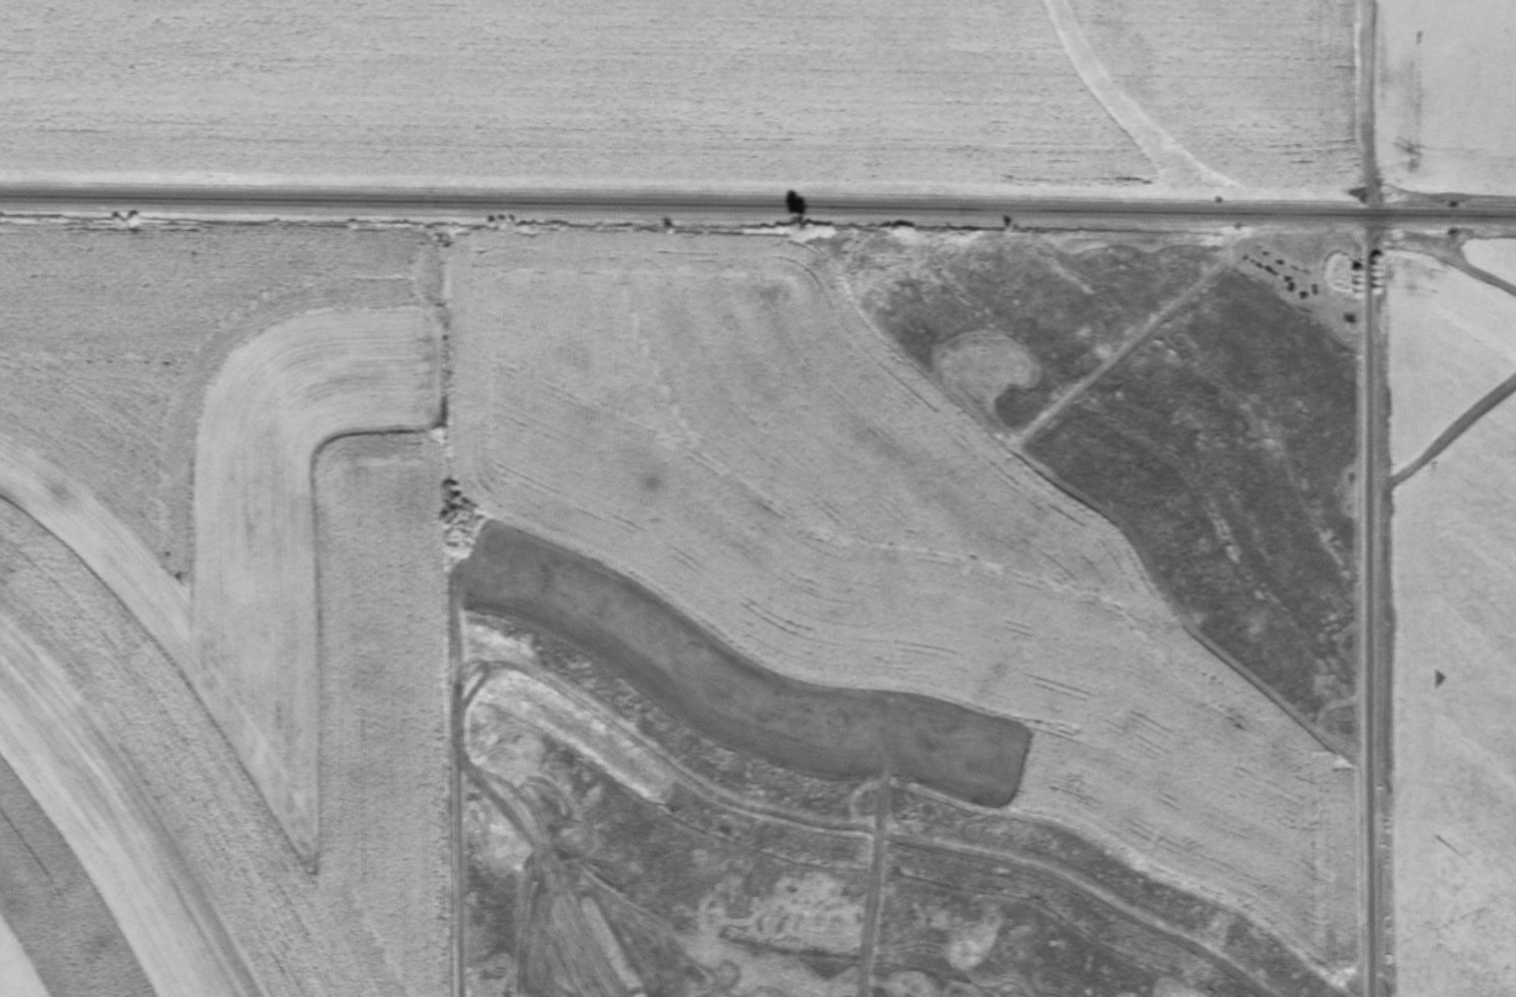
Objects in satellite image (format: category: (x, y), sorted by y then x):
road: (758, 185)
road: (1378, 498)

